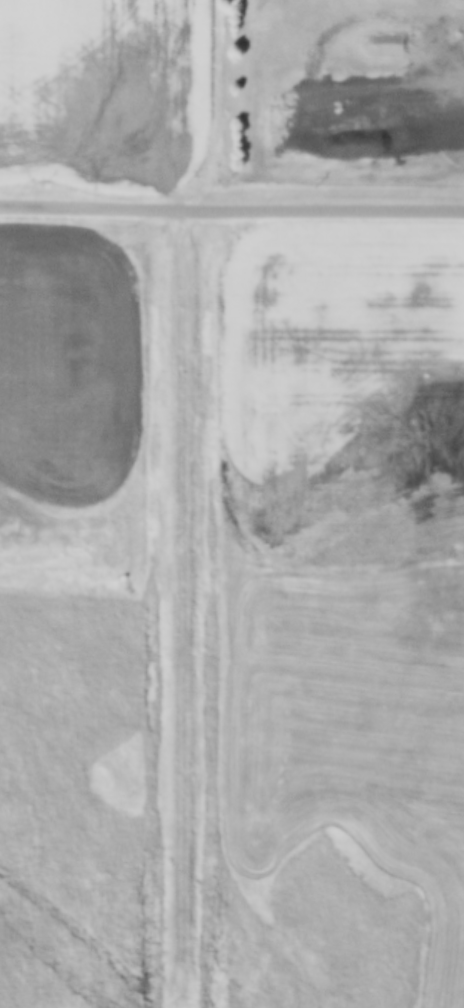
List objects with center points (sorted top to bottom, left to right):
road: (439, 113)
road: (231, 207)

